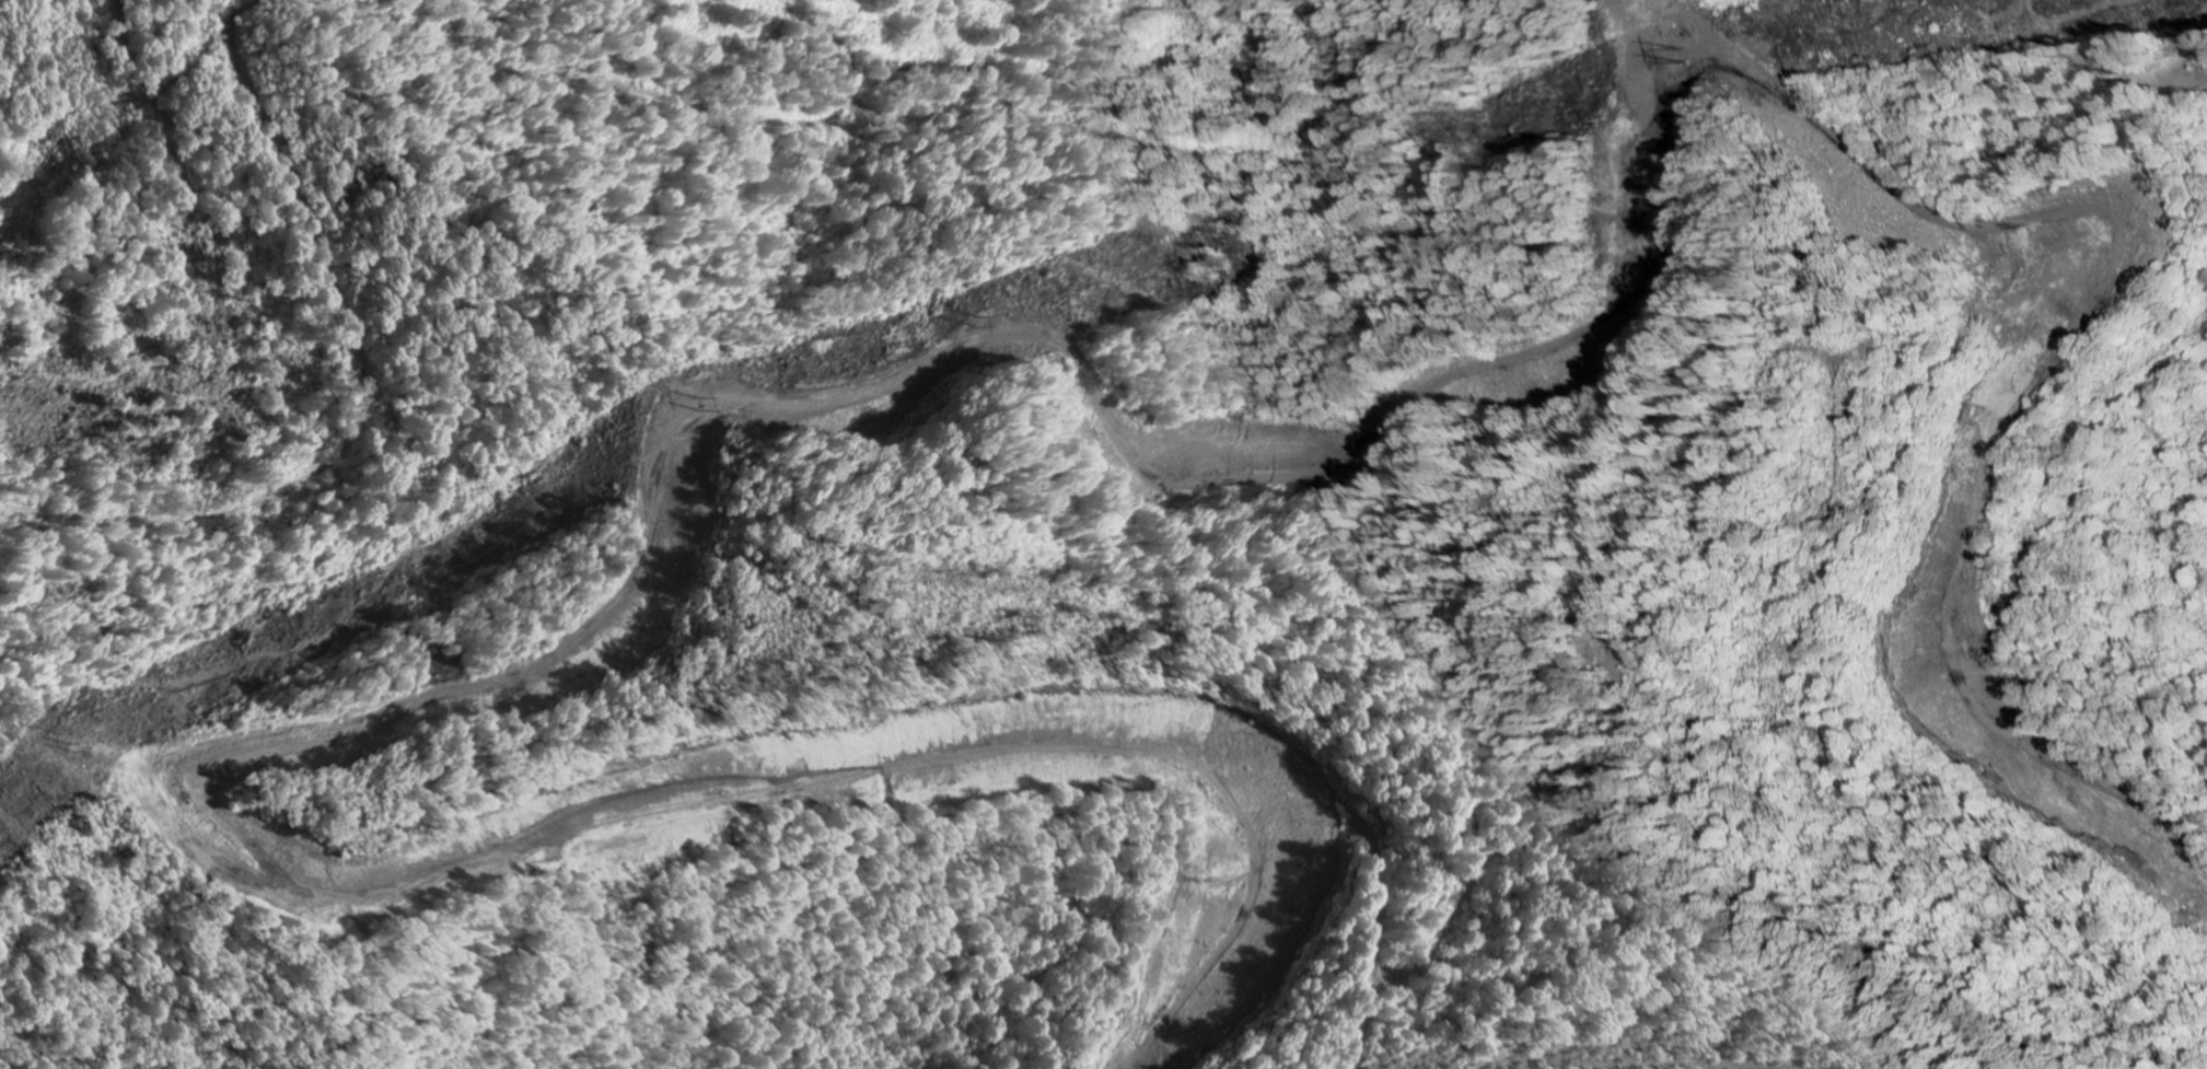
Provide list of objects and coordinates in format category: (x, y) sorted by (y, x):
power tower: (1682, 60)
power tower: (706, 415)
power tower: (70, 751)

